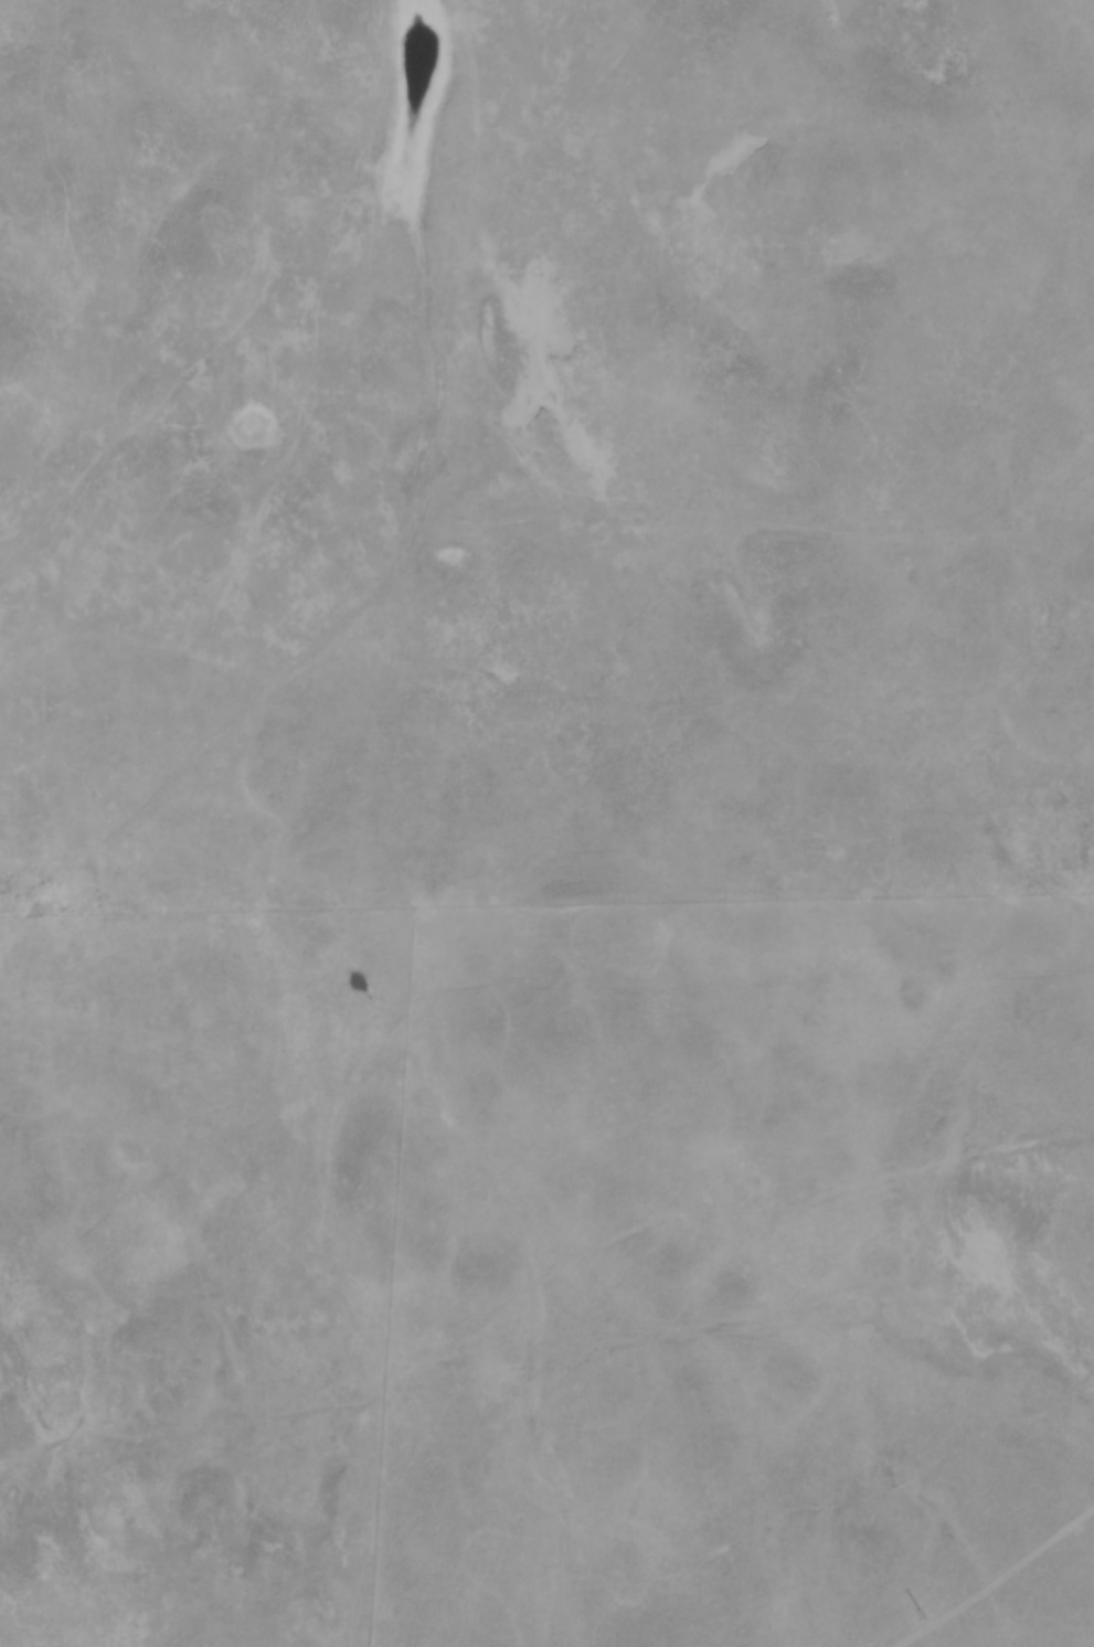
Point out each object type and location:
power tower: (922, 1614)

